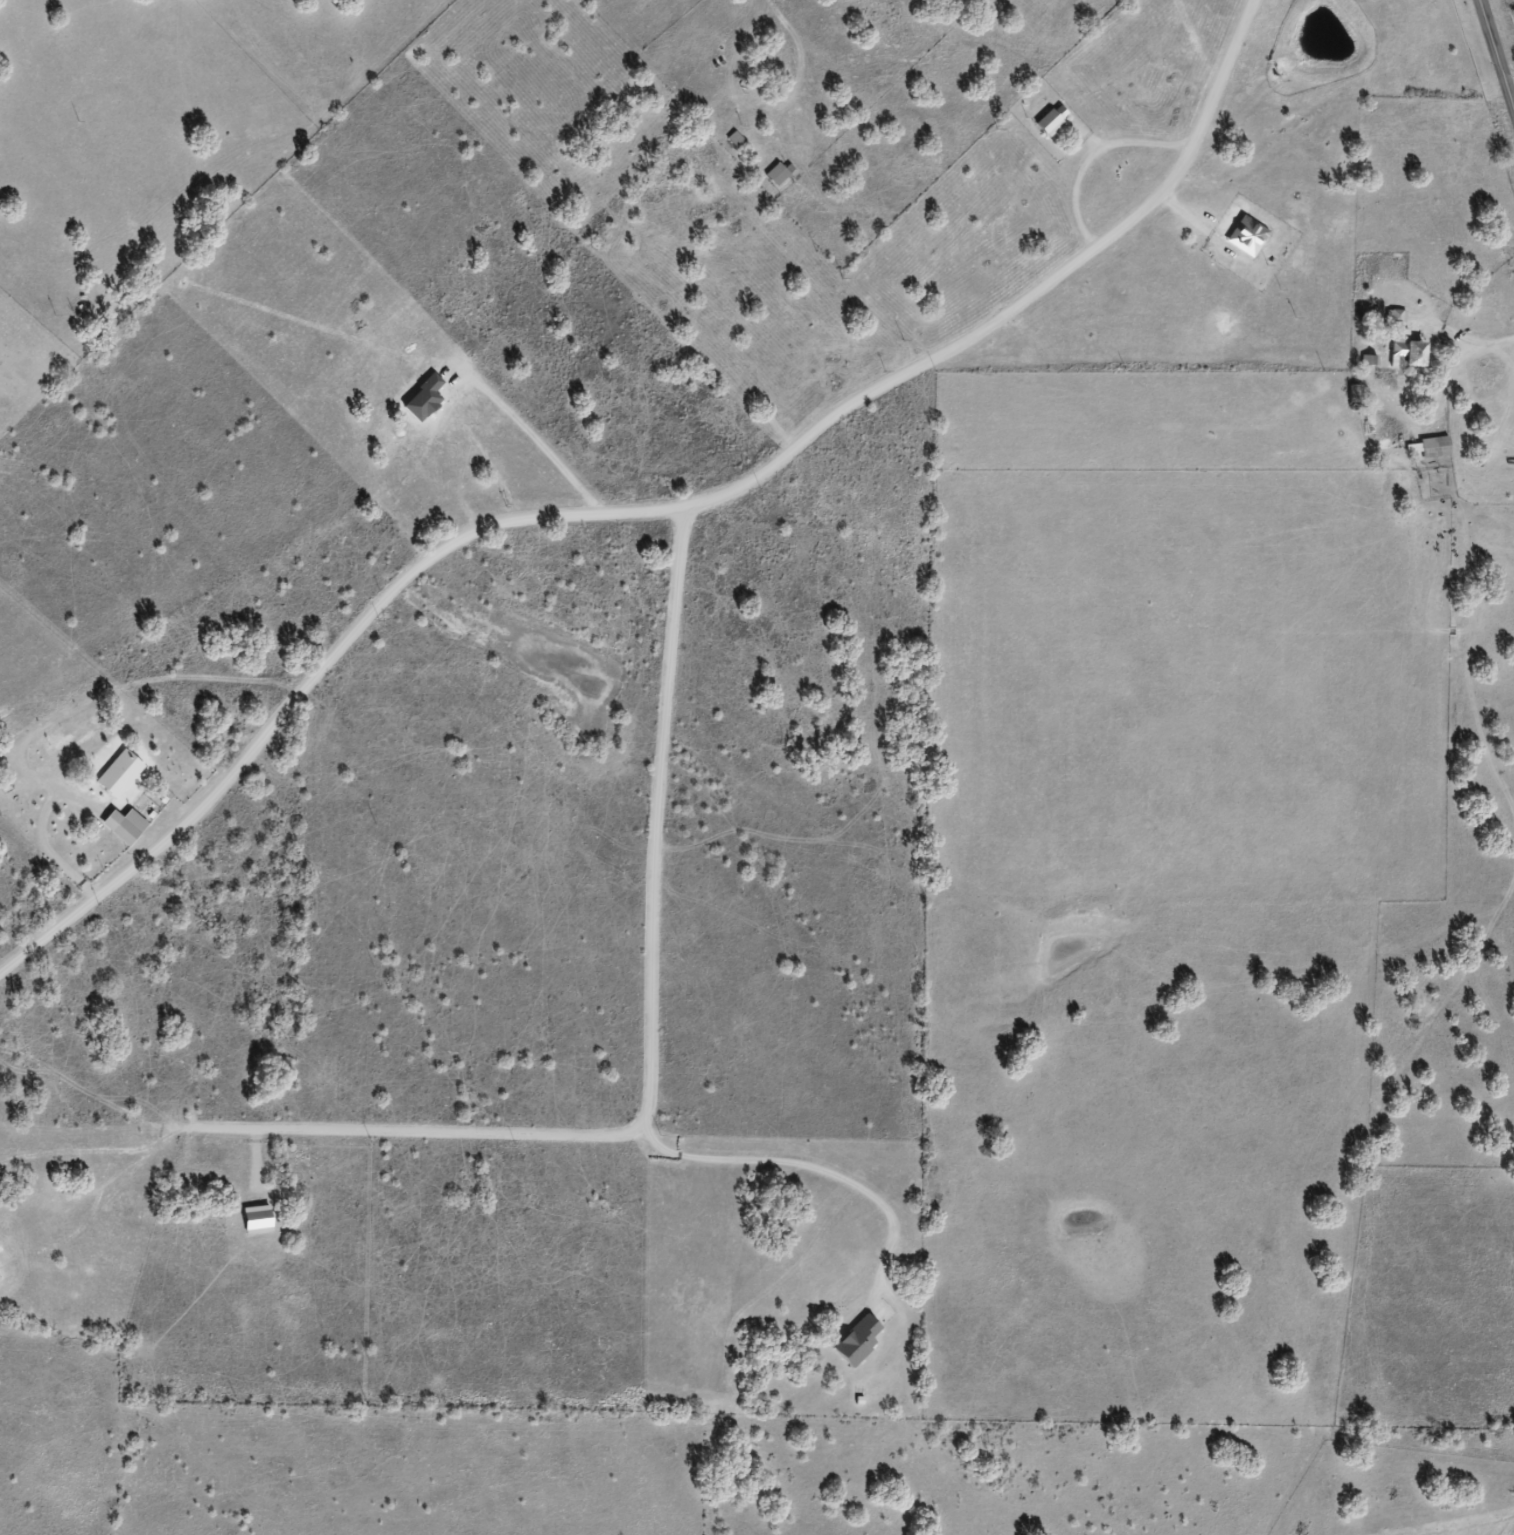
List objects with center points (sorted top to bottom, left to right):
road: (1497, 53)
building: (735, 140)
building: (777, 174)
building: (1401, 343)
building: (1354, 394)
building: (1433, 447)
road: (689, 514)
road: (112, 705)
building: (118, 774)
building: (123, 826)

